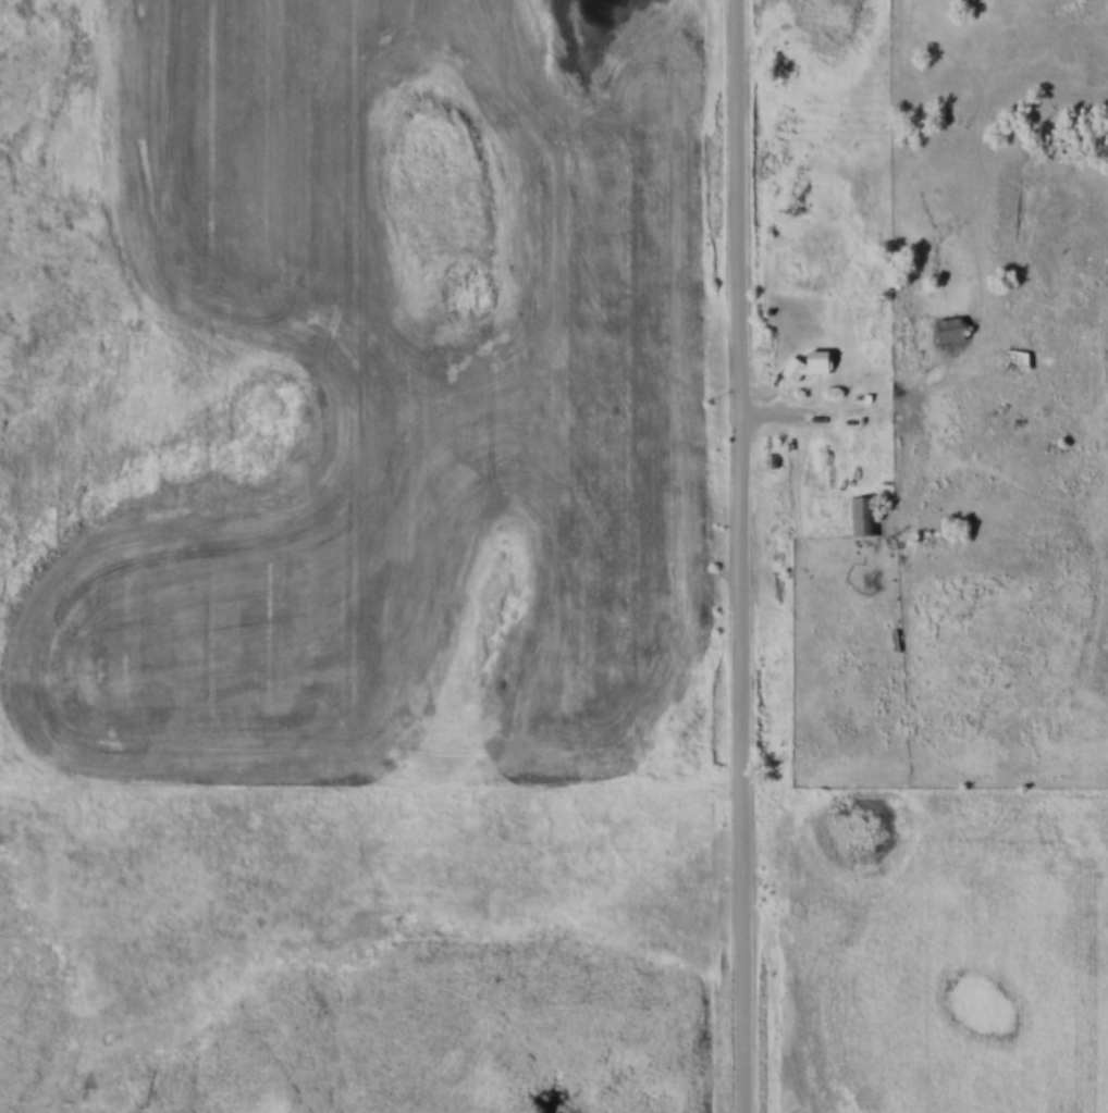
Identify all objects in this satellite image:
building: (948, 333)
building: (1013, 362)
building: (808, 366)
building: (1020, 423)
building: (772, 454)
building: (865, 516)
building: (927, 545)
road: (739, 556)

